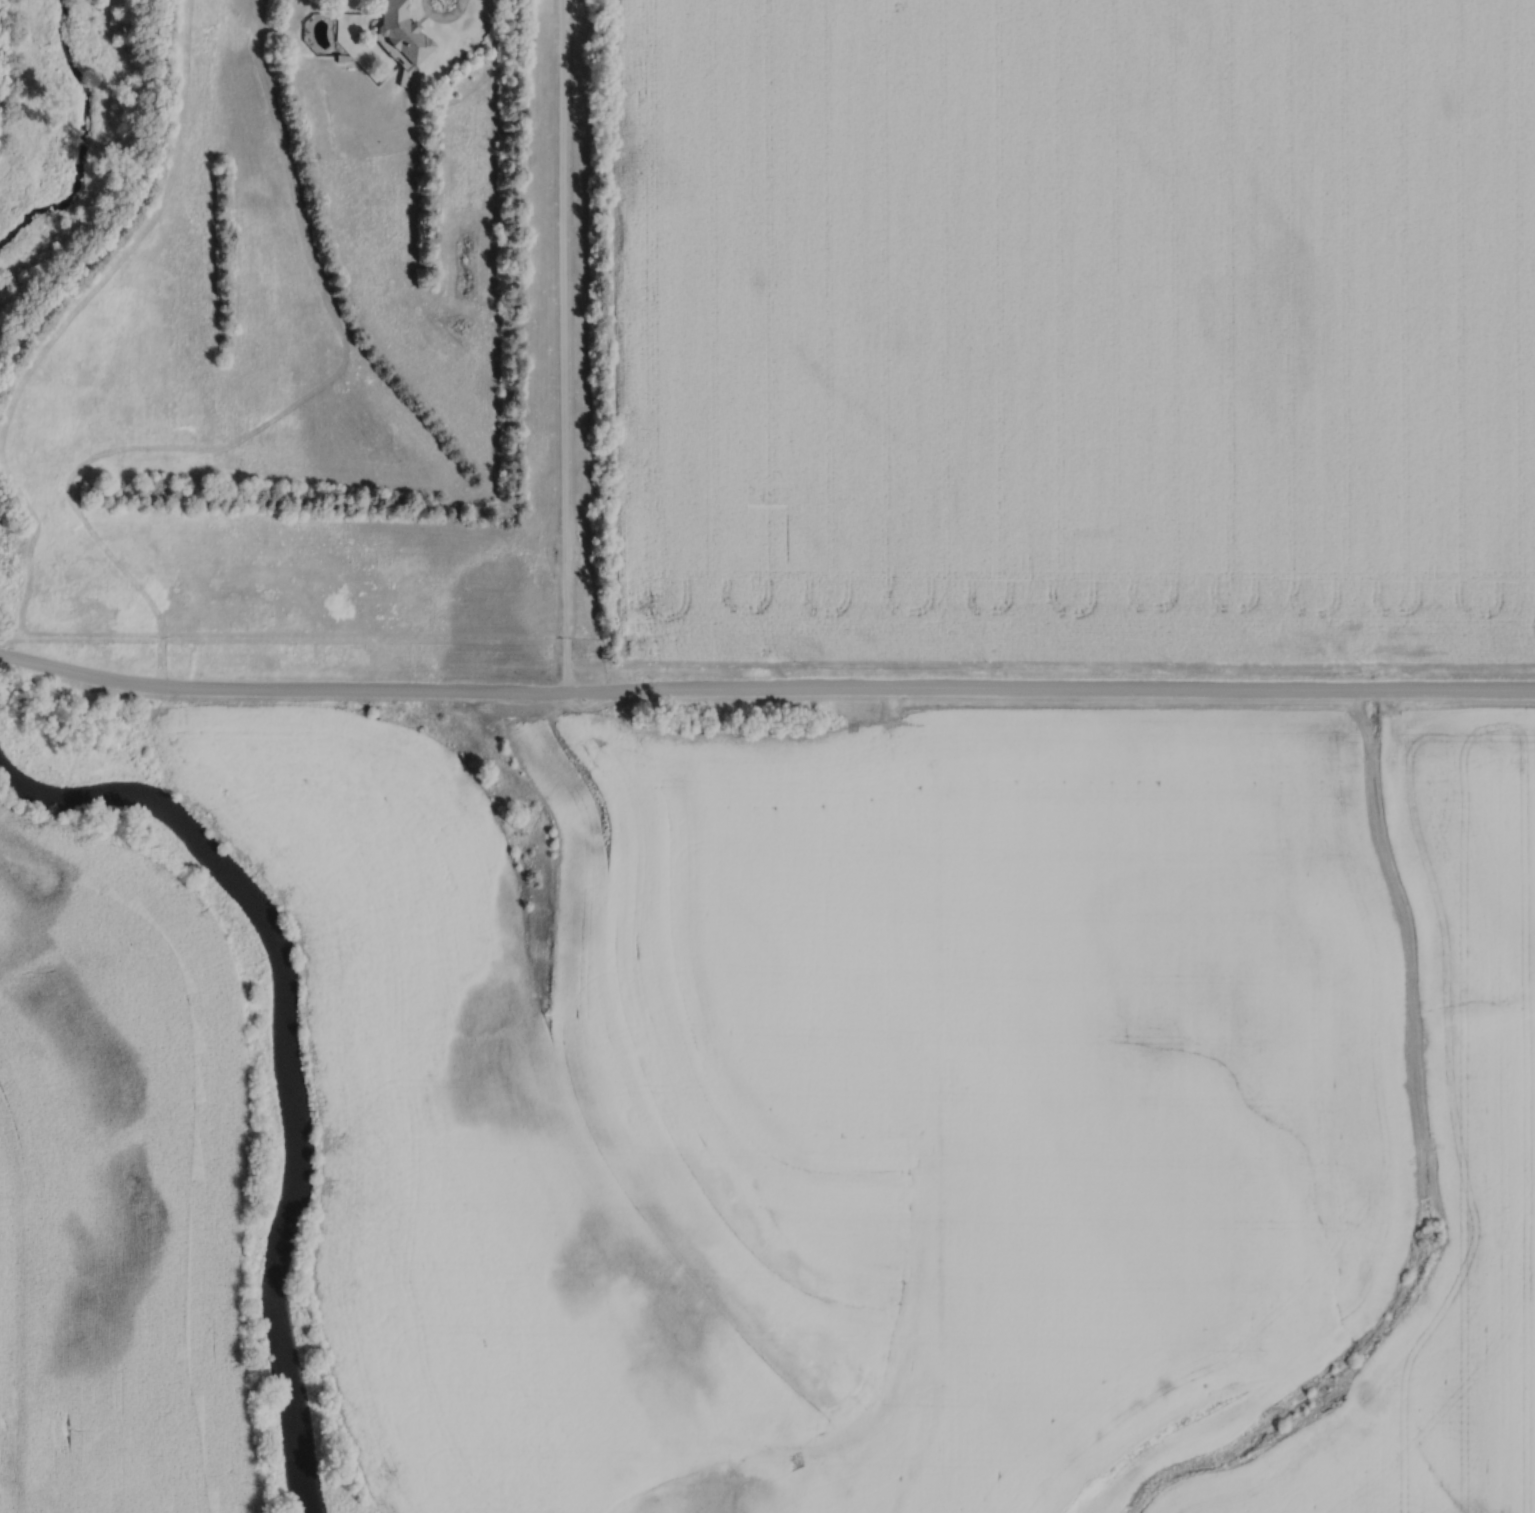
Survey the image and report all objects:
road: (443, 21)
building: (399, 35)
road: (563, 346)
road: (1, 656)
road: (766, 692)
river: (286, 1051)

